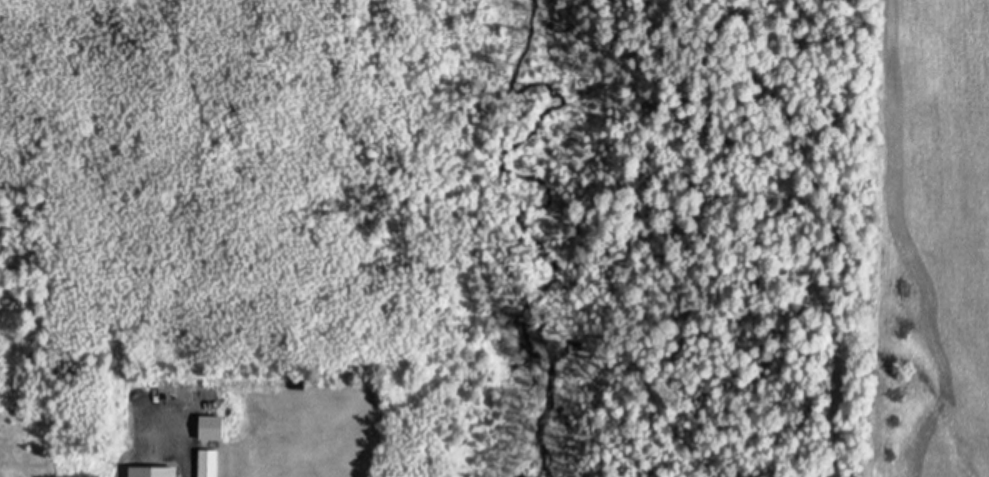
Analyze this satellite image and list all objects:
building: (206, 424)
building: (208, 462)
building: (151, 470)

